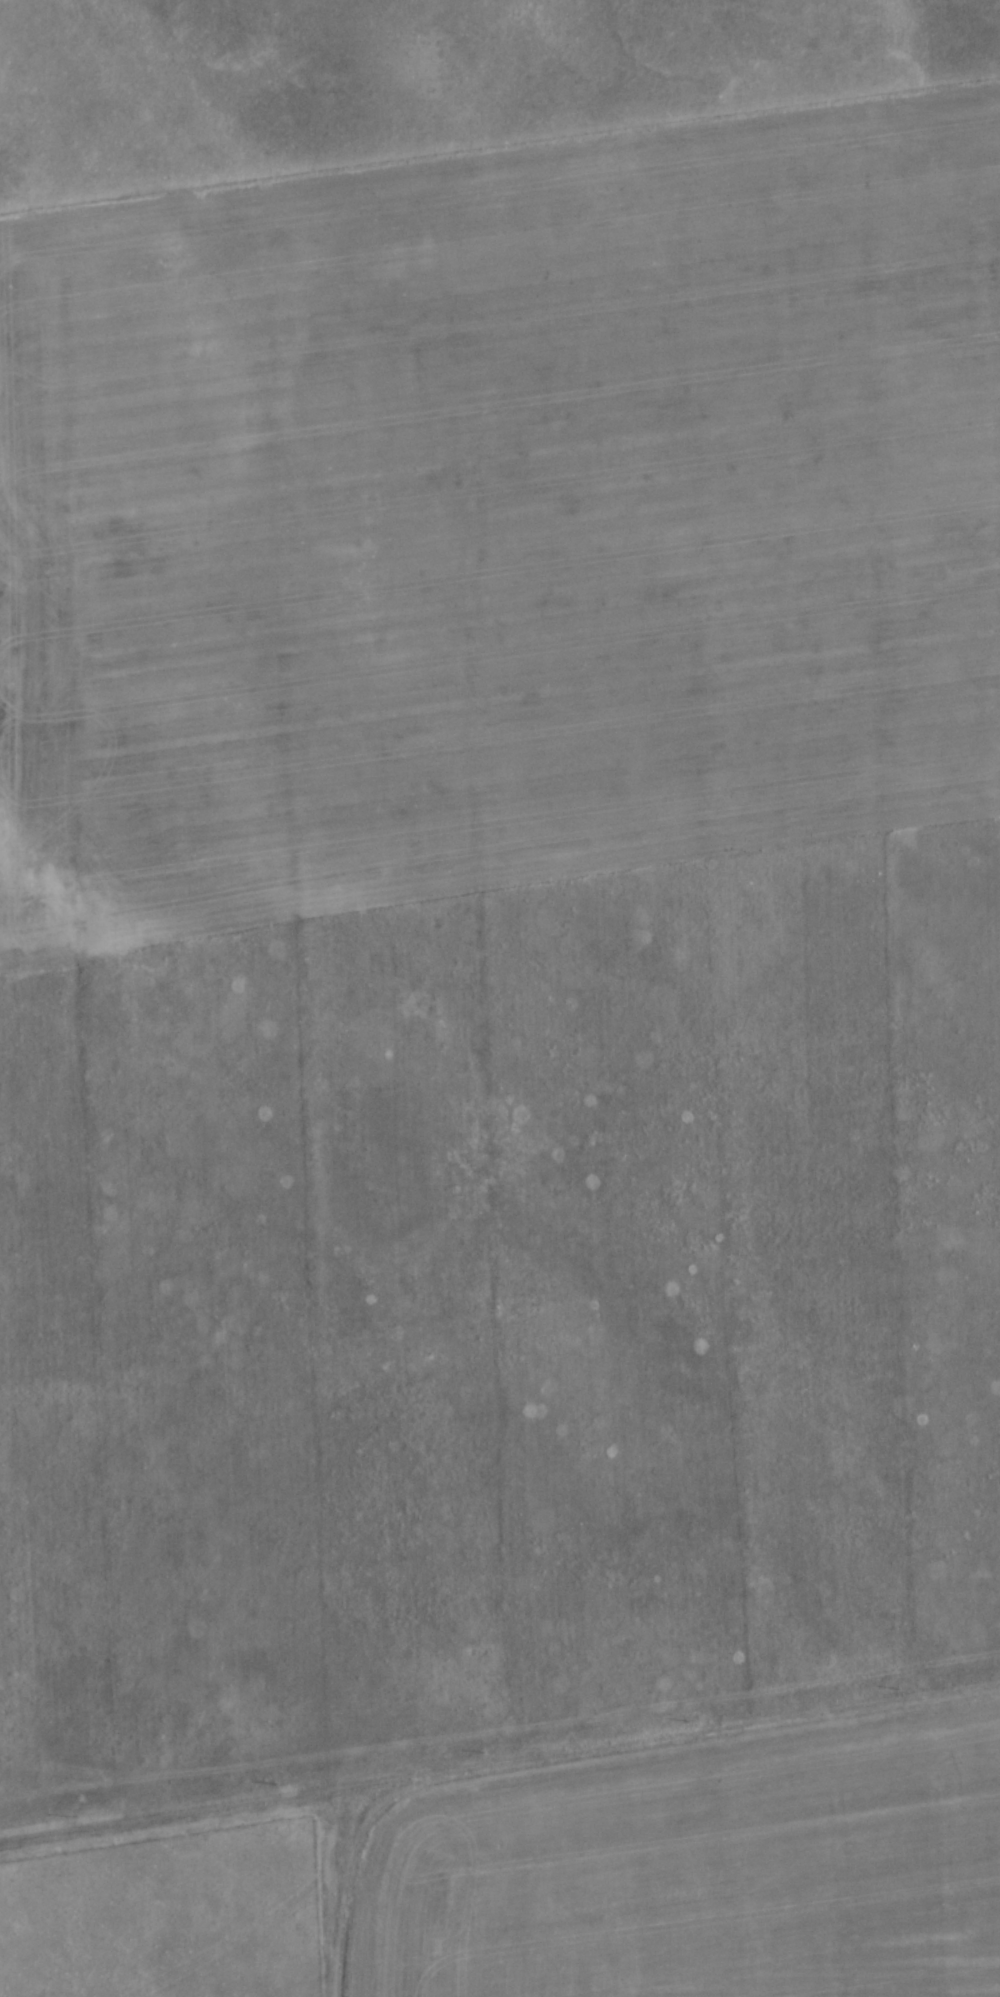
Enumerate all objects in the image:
road: (500, 1772)
road: (351, 1877)

